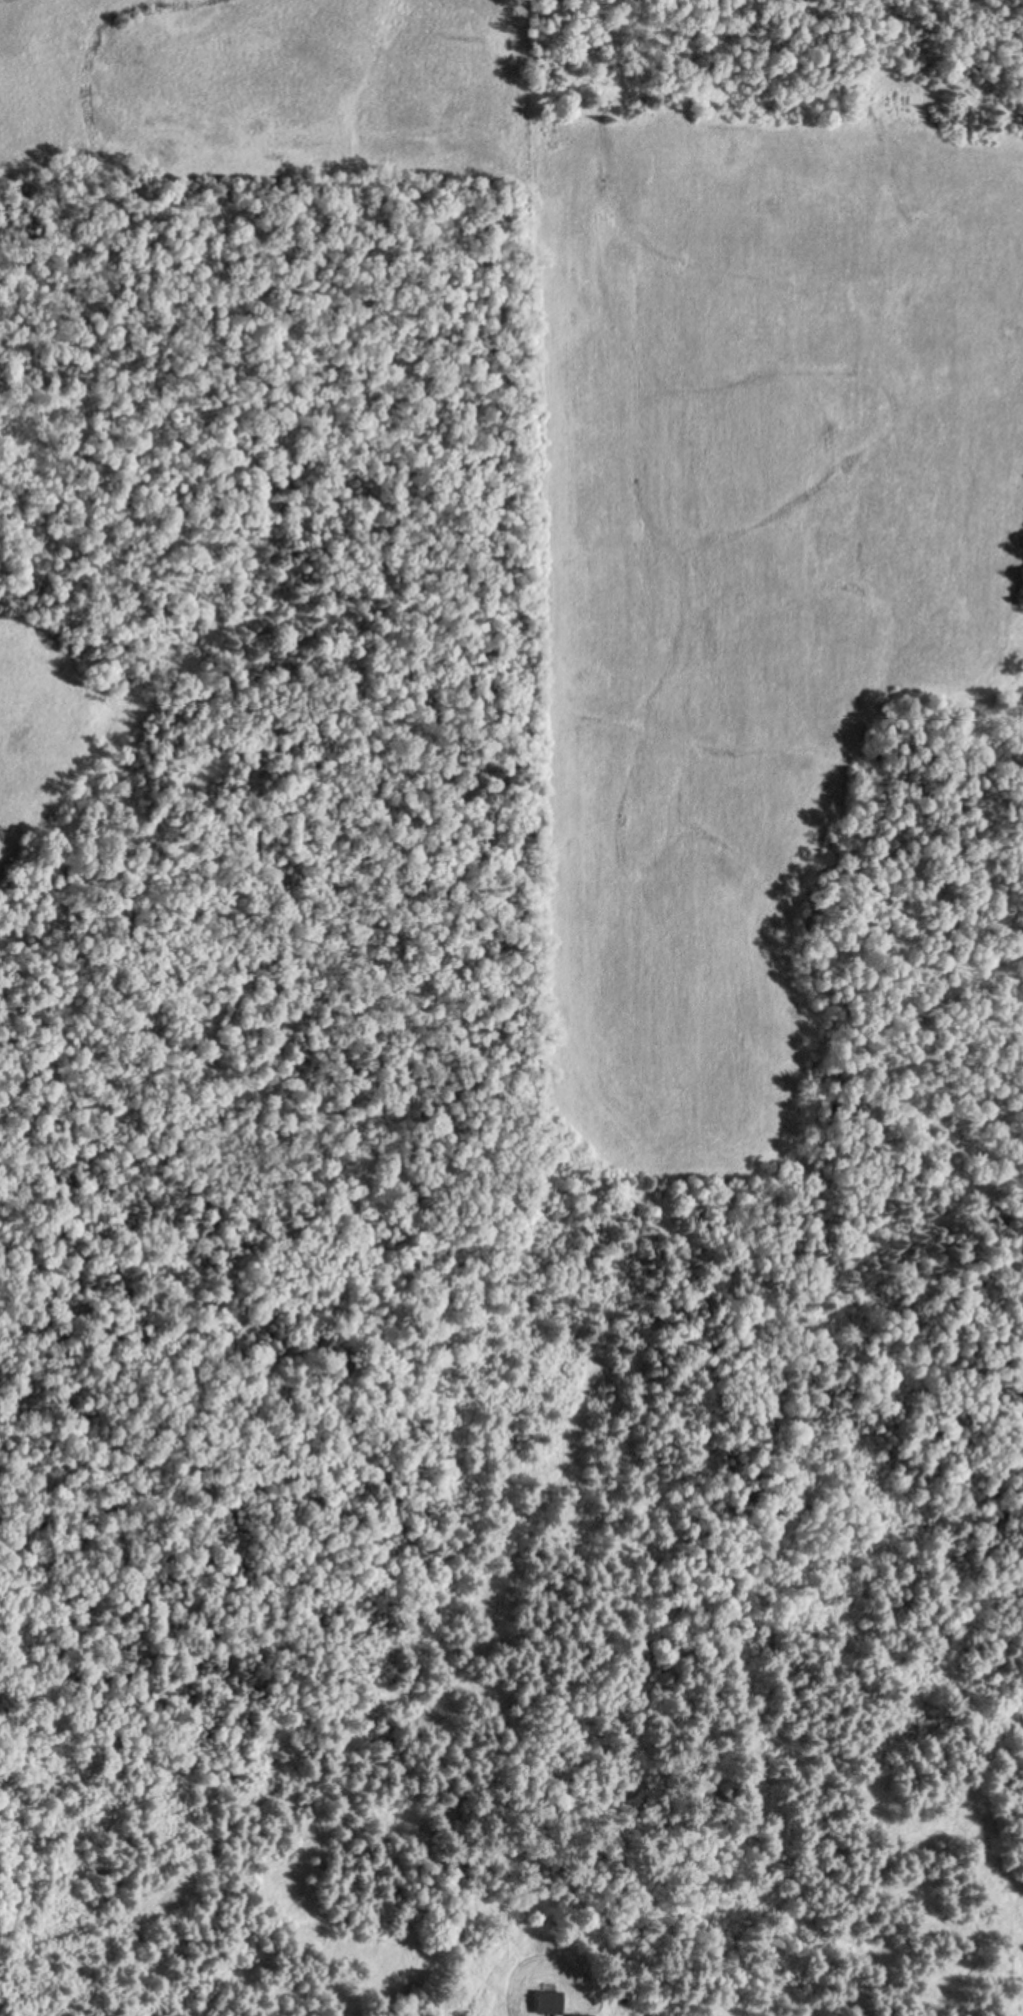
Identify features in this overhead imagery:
building: (550, 2001)

